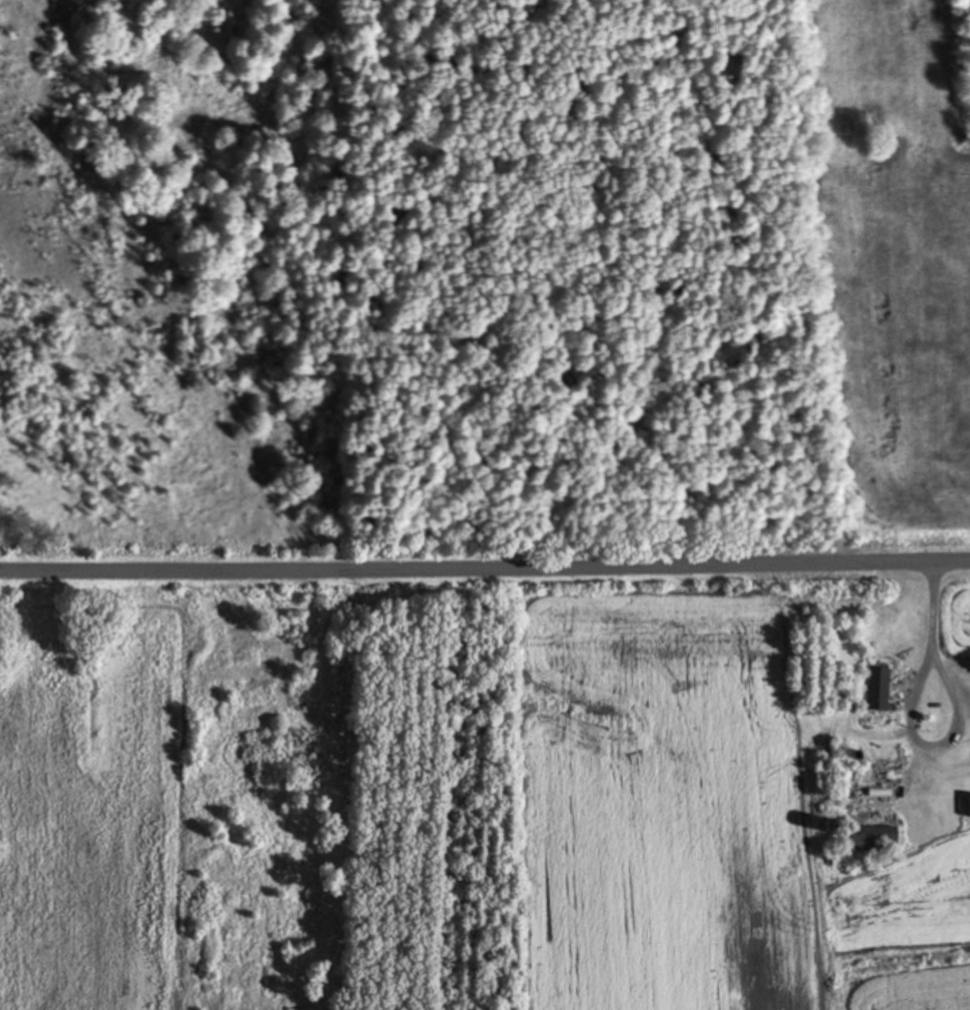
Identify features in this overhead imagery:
road: (484, 563)
building: (877, 691)
road: (955, 709)
building: (876, 841)

